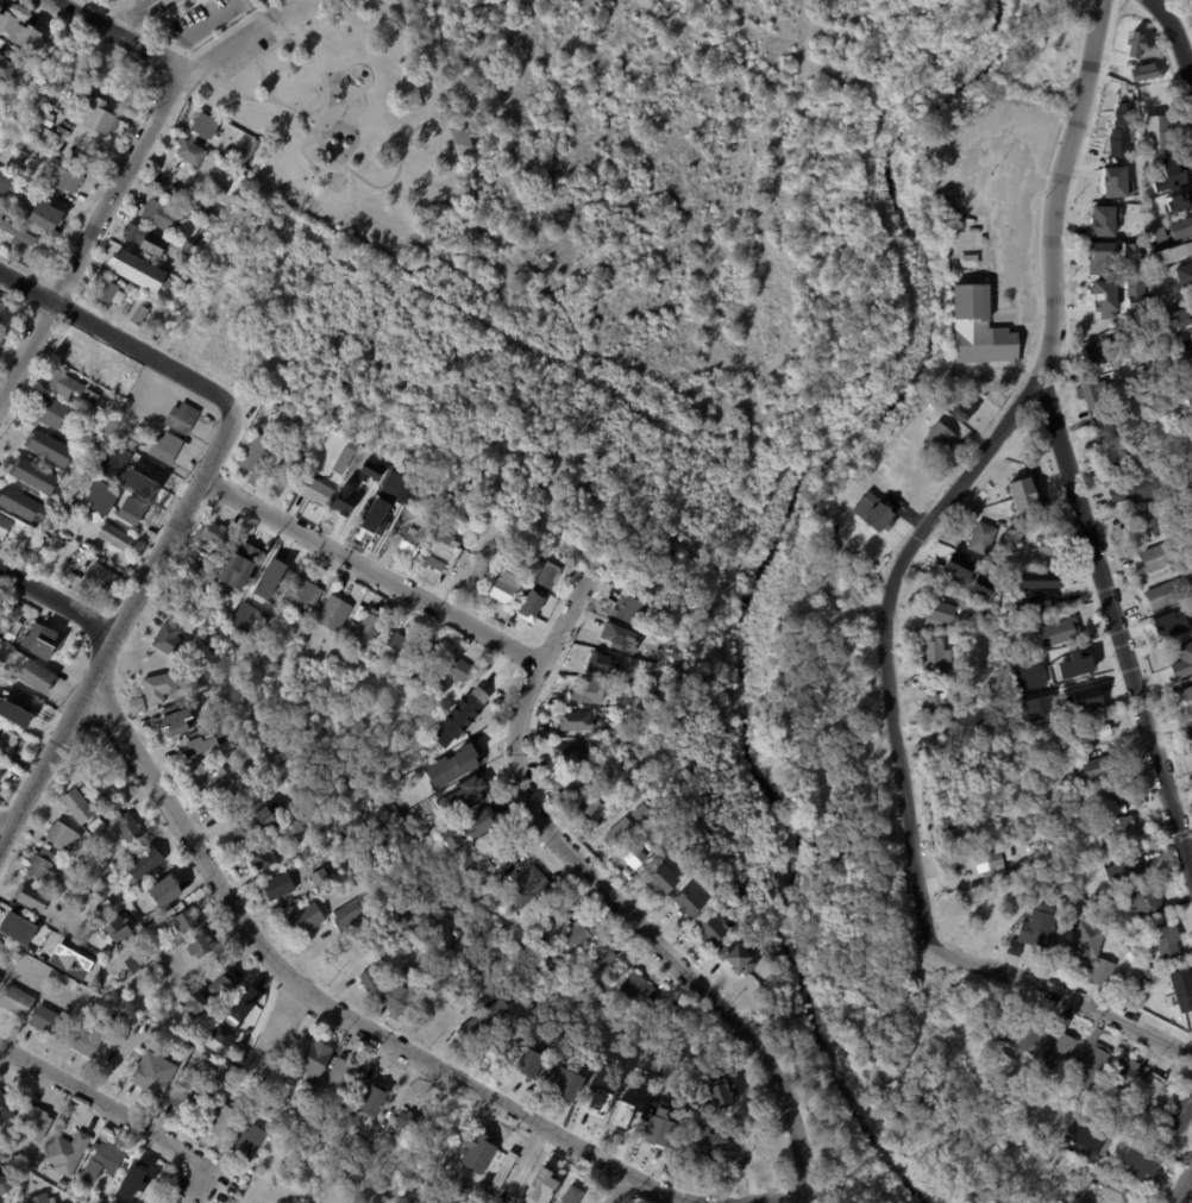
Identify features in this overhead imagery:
building: (193, 1)
road: (64, 2)
building: (168, 7)
road: (114, 13)
building: (0, 15)
road: (357, 18)
road: (115, 32)
road: (1178, 37)
building: (1136, 43)
parking lot: (234, 52)
road: (217, 58)
road: (255, 58)
building: (5, 69)
building: (1142, 71)
building: (98, 117)
building: (202, 124)
building: (1121, 126)
building: (232, 133)
building: (1158, 134)
building: (90, 140)
building: (457, 143)
road: (324, 149)
building: (189, 151)
building: (20, 156)
park: (620, 168)
building: (64, 176)
road: (553, 177)
building: (1173, 181)
building: (6, 182)
road: (1058, 188)
building: (1111, 188)
building: (169, 190)
building: (201, 208)
building: (44, 214)
building: (158, 214)
building: (1102, 220)
building: (1180, 227)
building: (17, 233)
building: (1159, 233)
building: (143, 239)
road: (90, 242)
building: (196, 242)
building: (1173, 251)
building: (1097, 255)
building: (1133, 255)
building: (189, 257)
building: (966, 262)
road: (1020, 267)
building: (131, 268)
building: (1185, 274)
building: (105, 290)
building: (1134, 293)
road: (1040, 295)
building: (1102, 295)
building: (209, 300)
building: (1191, 306)
building: (2, 308)
building: (136, 312)
building: (1175, 319)
building: (977, 330)
road: (117, 334)
building: (1098, 350)
building: (69, 355)
building: (1184, 358)
building: (58, 382)
building: (1191, 382)
building: (1090, 393)
building: (87, 396)
building: (1182, 397)
building: (962, 408)
building: (280, 409)
building: (48, 411)
building: (180, 416)
building: (1106, 427)
building: (93, 436)
building: (940, 436)
building: (46, 447)
building: (164, 447)
building: (253, 455)
building: (1118, 463)
building: (284, 466)
building: (98, 468)
building: (359, 468)
building: (32, 476)
building: (149, 480)
building: (120, 482)
building: (1135, 488)
building: (425, 490)
building: (314, 491)
building: (1022, 494)
building: (100, 495)
building: (17, 503)
building: (61, 503)
building: (341, 507)
building: (55, 513)
building: (872, 513)
building: (130, 516)
building: (1191, 518)
building: (376, 521)
building: (1149, 522)
building: (4, 526)
building: (61, 531)
building: (426, 532)
building: (112, 535)
building: (215, 535)
building: (980, 538)
building: (407, 545)
building: (1049, 549)
building: (1004, 550)
building: (243, 551)
building: (441, 552)
building: (1017, 552)
building: (209, 557)
building: (1154, 557)
building: (958, 565)
building: (38, 568)
road: (375, 571)
building: (277, 572)
building: (548, 572)
building: (96, 578)
building: (1040, 578)
building: (979, 588)
building: (500, 591)
building: (1167, 593)
building: (301, 594)
building: (1034, 600)
road: (57, 601)
building: (529, 604)
building: (626, 610)
building: (331, 613)
building: (936, 614)
building: (237, 615)
building: (985, 615)
building: (282, 618)
road: (1116, 624)
road: (119, 625)
building: (1174, 627)
building: (364, 628)
building: (1056, 631)
building: (619, 638)
building: (165, 639)
road: (885, 640)
building: (45, 643)
building: (58, 649)
building: (390, 649)
building: (428, 653)
building: (933, 653)
building: (1078, 656)
building: (598, 662)
building: (1182, 662)
building: (27, 671)
building: (458, 671)
building: (155, 687)
building: (585, 691)
building: (481, 693)
building: (1084, 696)
building: (1184, 700)
building: (937, 702)
building: (134, 704)
building: (1036, 706)
building: (20, 708)
building: (665, 710)
building: (459, 715)
building: (176, 718)
building: (575, 720)
building: (995, 725)
building: (596, 726)
building: (965, 726)
building: (1188, 732)
building: (1085, 738)
building: (202, 739)
building: (8, 747)
building: (569, 751)
building: (591, 753)
building: (952, 756)
building: (465, 760)
building: (447, 765)
building: (1, 767)
building: (1094, 769)
building: (952, 770)
building: (1006, 778)
building: (203, 779)
building: (564, 784)
building: (473, 787)
building: (1103, 794)
building: (95, 798)
building: (953, 800)
building: (80, 807)
building: (589, 810)
building: (636, 817)
road: (5, 821)
building: (482, 821)
building: (252, 825)
building: (99, 826)
building: (131, 828)
building: (619, 831)
building: (1116, 831)
building: (297, 833)
building: (962, 835)
building: (64, 837)
building: (454, 842)
building: (506, 851)
building: (632, 856)
building: (261, 858)
building: (993, 860)
building: (145, 864)
building: (113, 865)
building: (1125, 867)
building: (46, 869)
building: (659, 878)
building: (319, 879)
building: (271, 886)
building: (161, 888)
building: (526, 889)
building: (36, 897)
building: (87, 897)
road: (613, 897)
building: (688, 901)
building: (1150, 902)
building: (1061, 903)
building: (1069, 908)
building: (1087, 909)
building: (346, 914)
building: (125, 915)
building: (560, 917)
building: (305, 919)
building: (15, 921)
building: (187, 921)
building: (117, 928)
building: (708, 929)
building: (1035, 929)
building: (577, 932)
building: (6, 936)
building: (1086, 939)
building: (1166, 941)
building: (202, 946)
building: (529, 947)
building: (2, 948)
building: (735, 958)
building: (602, 959)
building: (69, 961)
building: (138, 963)
building: (1080, 969)
building: (409, 975)
building: (105, 976)
building: (1, 978)
building: (366, 980)
building: (77, 986)
building: (1181, 990)
building: (635, 991)
road: (1065, 994)
building: (93, 997)
building: (211, 998)
building: (396, 998)
building: (19, 1001)
building: (247, 1005)
building: (479, 1020)
building: (136, 1021)
building: (52, 1022)
building: (1025, 1032)
building: (228, 1035)
road: (383, 1035)
building: (89, 1040)
building: (1056, 1046)
building: (313, 1059)
building: (1091, 1059)
building: (1003, 1063)
building: (532, 1064)
building: (215, 1067)
building: (157, 1069)
building: (338, 1073)
building: (1121, 1077)
building: (565, 1083)
building: (1149, 1088)
building: (190, 1092)
building: (720, 1094)
building: (244, 1097)
building: (371, 1099)
building: (595, 1101)
building: (8, 1107)
road: (109, 1107)
building: (272, 1114)
building: (1180, 1114)
building: (623, 1117)
building: (403, 1120)
building: (224, 1121)
building: (38, 1123)
building: (655, 1126)
building: (250, 1140)
building: (1084, 1140)
building: (705, 1141)
building: (359, 1142)
building: (1029, 1144)
building: (475, 1149)
building: (70, 1153)
building: (105, 1158)
building: (1136, 1159)
building: (1077, 1164)
building: (501, 1172)
building: (537, 1180)
building: (142, 1182)
building: (65, 1184)
building: (7, 1185)
road: (1182, 1186)
road: (616, 1188)
building: (1115, 1191)
building: (571, 1195)
building: (43, 1199)
building: (99, 1199)
building: (62, 1202)
building: (535, 1202)

